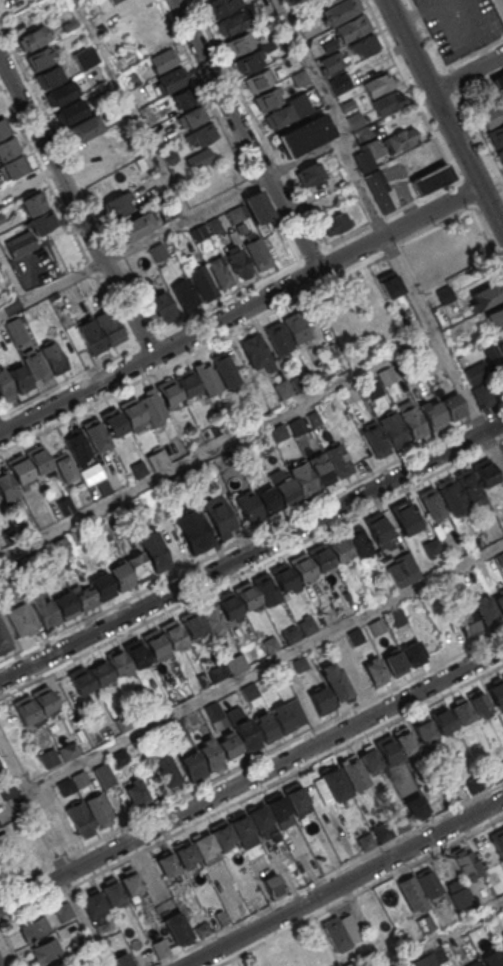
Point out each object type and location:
building: (115, 1)
building: (326, 2)
building: (222, 6)
road: (499, 6)
building: (340, 11)
building: (114, 22)
building: (235, 22)
building: (273, 25)
building: (346, 31)
road: (428, 33)
building: (34, 37)
building: (240, 44)
building: (365, 45)
road: (474, 51)
building: (85, 57)
building: (292, 57)
building: (40, 58)
building: (163, 60)
building: (249, 61)
building: (331, 62)
road: (467, 72)
building: (50, 76)
building: (300, 77)
building: (171, 80)
building: (259, 80)
road: (481, 81)
building: (341, 82)
building: (378, 84)
building: (498, 84)
building: (62, 93)
building: (185, 97)
building: (268, 98)
building: (387, 102)
building: (348, 104)
road: (132, 109)
building: (71, 112)
road: (444, 115)
building: (492, 115)
building: (194, 116)
building: (278, 116)
building: (356, 120)
building: (3, 127)
building: (83, 129)
building: (204, 133)
building: (305, 134)
road: (246, 135)
building: (496, 135)
building: (400, 139)
building: (8, 147)
building: (500, 155)
building: (171, 156)
building: (200, 158)
building: (365, 159)
building: (13, 166)
building: (309, 172)
building: (430, 179)
building: (23, 186)
building: (379, 189)
road: (240, 190)
building: (32, 204)
building: (117, 205)
road: (76, 207)
building: (258, 207)
building: (236, 214)
building: (41, 222)
building: (336, 222)
building: (215, 225)
building: (135, 226)
building: (242, 228)
building: (199, 233)
building: (21, 244)
building: (157, 252)
building: (258, 252)
building: (239, 262)
building: (220, 273)
road: (12, 277)
building: (203, 281)
building: (389, 284)
building: (185, 294)
building: (371, 294)
building: (444, 294)
building: (485, 296)
road: (419, 305)
building: (163, 307)
road: (240, 309)
building: (496, 317)
building: (98, 324)
building: (294, 327)
building: (16, 331)
building: (277, 337)
building: (500, 346)
building: (256, 354)
building: (55, 357)
building: (35, 365)
building: (225, 369)
building: (19, 375)
building: (386, 376)
building: (207, 378)
building: (185, 382)
building: (297, 383)
building: (5, 387)
building: (282, 388)
building: (372, 389)
building: (168, 391)
building: (482, 394)
building: (152, 407)
building: (451, 407)
building: (130, 411)
building: (245, 413)
building: (431, 415)
building: (313, 419)
building: (411, 421)
building: (113, 422)
building: (297, 423)
building: (393, 428)
building: (211, 429)
building: (277, 434)
building: (96, 435)
building: (374, 439)
building: (260, 442)
building: (78, 447)
road: (218, 449)
building: (37, 459)
building: (156, 459)
building: (339, 459)
building: (64, 466)
building: (18, 468)
building: (320, 468)
building: (137, 469)
building: (485, 472)
building: (302, 479)
building: (176, 483)
building: (6, 485)
building: (467, 485)
building: (103, 487)
building: (285, 491)
building: (449, 494)
building: (267, 500)
building: (430, 502)
building: (246, 505)
building: (125, 508)
building: (118, 515)
building: (218, 516)
building: (403, 516)
building: (378, 529)
building: (192, 530)
building: (8, 535)
building: (72, 537)
building: (358, 541)
building: (60, 547)
building: (337, 547)
building: (432, 547)
road: (251, 550)
building: (155, 556)
building: (318, 558)
building: (500, 559)
building: (35, 560)
building: (22, 564)
building: (136, 566)
building: (300, 566)
building: (401, 571)
building: (6, 576)
building: (120, 576)
building: (283, 577)
building: (468, 577)
building: (100, 586)
building: (381, 587)
building: (265, 589)
building: (245, 596)
building: (84, 598)
building: (499, 602)
building: (65, 605)
building: (227, 605)
building: (44, 612)
building: (485, 613)
building: (396, 617)
building: (210, 618)
building: (20, 619)
building: (467, 622)
building: (190, 624)
building: (307, 627)
building: (376, 627)
building: (171, 634)
building: (291, 634)
building: (355, 636)
building: (4, 639)
building: (153, 644)
building: (270, 644)
building: (135, 653)
building: (413, 653)
building: (240, 660)
building: (117, 662)
building: (394, 662)
building: (300, 664)
road: (263, 665)
building: (98, 671)
building: (376, 672)
building: (216, 673)
building: (501, 677)
building: (80, 680)
building: (201, 680)
building: (335, 682)
building: (358, 682)
building: (250, 691)
building: (495, 694)
building: (44, 700)
building: (321, 701)
building: (478, 703)
building: (25, 709)
building: (213, 711)
building: (460, 711)
building: (281, 718)
building: (442, 721)
building: (121, 722)
building: (263, 727)
building: (175, 730)
building: (424, 730)
building: (245, 735)
building: (404, 742)
building: (228, 746)
building: (69, 750)
building: (386, 750)
building: (209, 754)
building: (48, 758)
building: (119, 759)
building: (369, 760)
building: (502, 765)
building: (191, 766)
building: (0, 767)
building: (166, 770)
road: (251, 773)
building: (352, 773)
building: (103, 776)
road: (285, 776)
building: (79, 779)
building: (335, 783)
building: (472, 783)
building: (65, 787)
building: (7, 790)
building: (135, 792)
building: (296, 801)
road: (31, 806)
building: (276, 807)
building: (416, 808)
building: (99, 810)
building: (79, 819)
building: (400, 821)
building: (262, 822)
building: (60, 827)
building: (241, 830)
building: (381, 831)
building: (220, 834)
building: (497, 841)
building: (365, 842)
building: (204, 848)
building: (184, 855)
building: (166, 864)
building: (466, 864)
building: (130, 881)
road: (344, 882)
building: (428, 882)
building: (272, 886)
building: (251, 889)
road: (360, 890)
building: (111, 891)
building: (410, 892)
building: (457, 893)
building: (92, 903)
building: (63, 910)
building: (221, 917)
road: (82, 919)
building: (425, 923)
building: (34, 928)
building: (176, 928)
building: (201, 928)
building: (335, 932)
road: (443, 934)
building: (159, 948)
building: (501, 948)
building: (45, 950)
building: (82, 952)
building: (438, 955)
building: (492, 959)
building: (122, 960)
building: (60, 963)
building: (480, 965)

